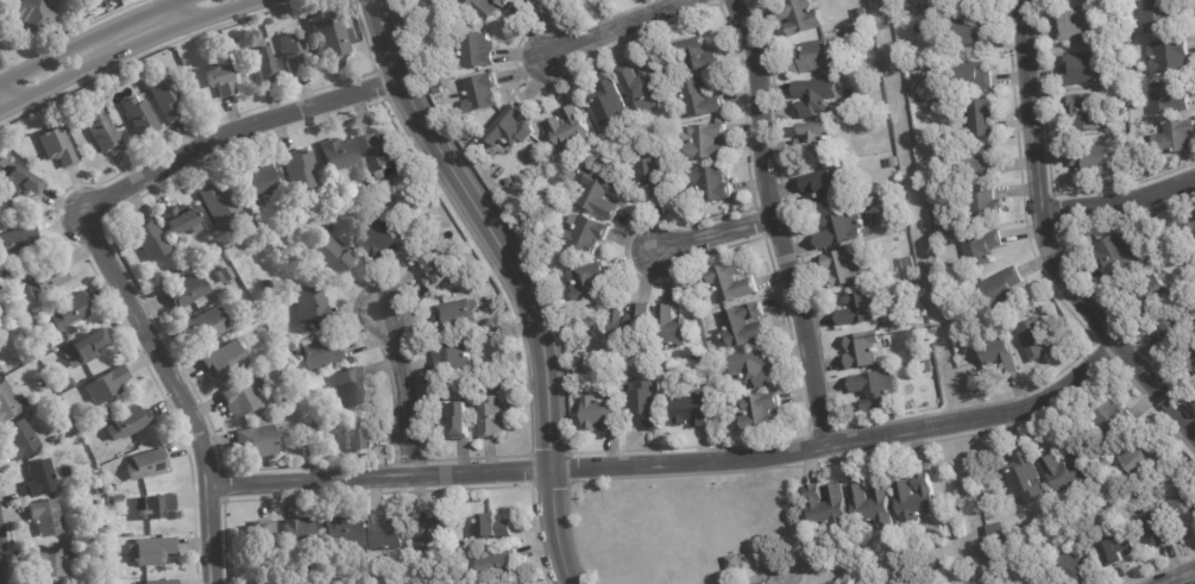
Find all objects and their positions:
building: (772, 0)
building: (528, 1)
building: (1111, 1)
building: (964, 2)
building: (488, 6)
building: (898, 8)
road: (181, 12)
building: (1158, 13)
building: (34, 14)
building: (799, 17)
building: (1077, 23)
road: (622, 26)
building: (971, 33)
road: (84, 38)
building: (332, 38)
building: (1127, 39)
building: (1117, 43)
building: (477, 49)
road: (128, 52)
building: (294, 52)
building: (697, 56)
building: (817, 56)
building: (1168, 56)
building: (258, 62)
building: (1082, 68)
building: (1131, 71)
building: (220, 76)
building: (971, 76)
building: (637, 87)
road: (7, 88)
building: (438, 90)
building: (480, 92)
building: (166, 96)
building: (815, 96)
building: (1163, 98)
building: (697, 99)
building: (609, 106)
building: (1084, 111)
building: (139, 113)
building: (981, 118)
building: (717, 120)
road: (235, 128)
building: (508, 128)
building: (568, 128)
building: (105, 133)
building: (1174, 137)
building: (813, 139)
building: (704, 142)
building: (57, 145)
building: (339, 153)
building: (379, 155)
building: (1090, 159)
building: (982, 161)
building: (894, 162)
building: (298, 169)
building: (650, 172)
building: (18, 177)
building: (260, 181)
building: (507, 181)
building: (826, 183)
building: (710, 184)
building: (369, 190)
building: (599, 194)
road: (1118, 201)
building: (219, 205)
building: (985, 206)
building: (679, 207)
building: (346, 215)
building: (181, 219)
building: (873, 219)
road: (776, 221)
building: (1191, 225)
building: (841, 232)
building: (586, 233)
road: (716, 234)
building: (382, 237)
building: (18, 239)
building: (150, 239)
road: (1044, 247)
building: (981, 249)
building: (1117, 253)
building: (189, 260)
building: (333, 262)
building: (907, 263)
building: (4, 268)
building: (439, 268)
building: (844, 268)
building: (224, 275)
road: (518, 277)
building: (48, 278)
building: (586, 281)
building: (729, 283)
building: (1002, 287)
building: (185, 291)
building: (1149, 297)
building: (312, 303)
building: (69, 309)
building: (860, 310)
building: (453, 318)
building: (39, 320)
building: (207, 324)
building: (629, 325)
building: (743, 326)
building: (313, 327)
building: (669, 328)
building: (1170, 333)
building: (36, 337)
building: (1036, 339)
building: (45, 347)
building: (86, 347)
building: (862, 350)
building: (320, 352)
building: (910, 353)
building: (999, 353)
building: (453, 356)
building: (1190, 359)
building: (225, 360)
building: (703, 363)
building: (927, 368)
building: (0, 369)
building: (751, 369)
building: (659, 371)
building: (577, 373)
building: (40, 381)
building: (70, 381)
building: (107, 384)
road: (180, 387)
building: (350, 388)
building: (495, 389)
building: (874, 390)
road: (407, 391)
building: (240, 398)
building: (7, 401)
building: (293, 401)
building: (644, 403)
building: (690, 409)
building: (759, 413)
building: (599, 414)
building: (491, 419)
building: (69, 420)
building: (458, 420)
building: (1113, 420)
building: (130, 421)
building: (316, 423)
building: (73, 427)
building: (354, 437)
building: (754, 438)
building: (19, 439)
building: (256, 440)
building: (65, 441)
building: (106, 457)
road: (678, 457)
building: (1139, 459)
building: (146, 463)
building: (272, 463)
building: (96, 473)
building: (1065, 473)
building: (39, 477)
building: (1025, 477)
building: (111, 488)
building: (99, 490)
building: (992, 491)
building: (1145, 492)
building: (119, 498)
building: (914, 498)
building: (956, 501)
building: (100, 502)
building: (155, 504)
building: (828, 507)
building: (872, 507)
building: (1184, 508)
building: (45, 516)
building: (99, 526)
building: (495, 526)
building: (995, 529)
building: (1152, 529)
building: (385, 533)
building: (341, 534)
building: (427, 535)
building: (297, 536)
building: (259, 538)
building: (101, 542)
building: (460, 547)
building: (152, 548)
building: (1117, 551)
road: (4, 553)
building: (49, 559)
building: (734, 563)
building: (501, 564)
building: (939, 567)
building: (1071, 567)
road: (1174, 574)
building: (162, 580)
building: (832, 583)

